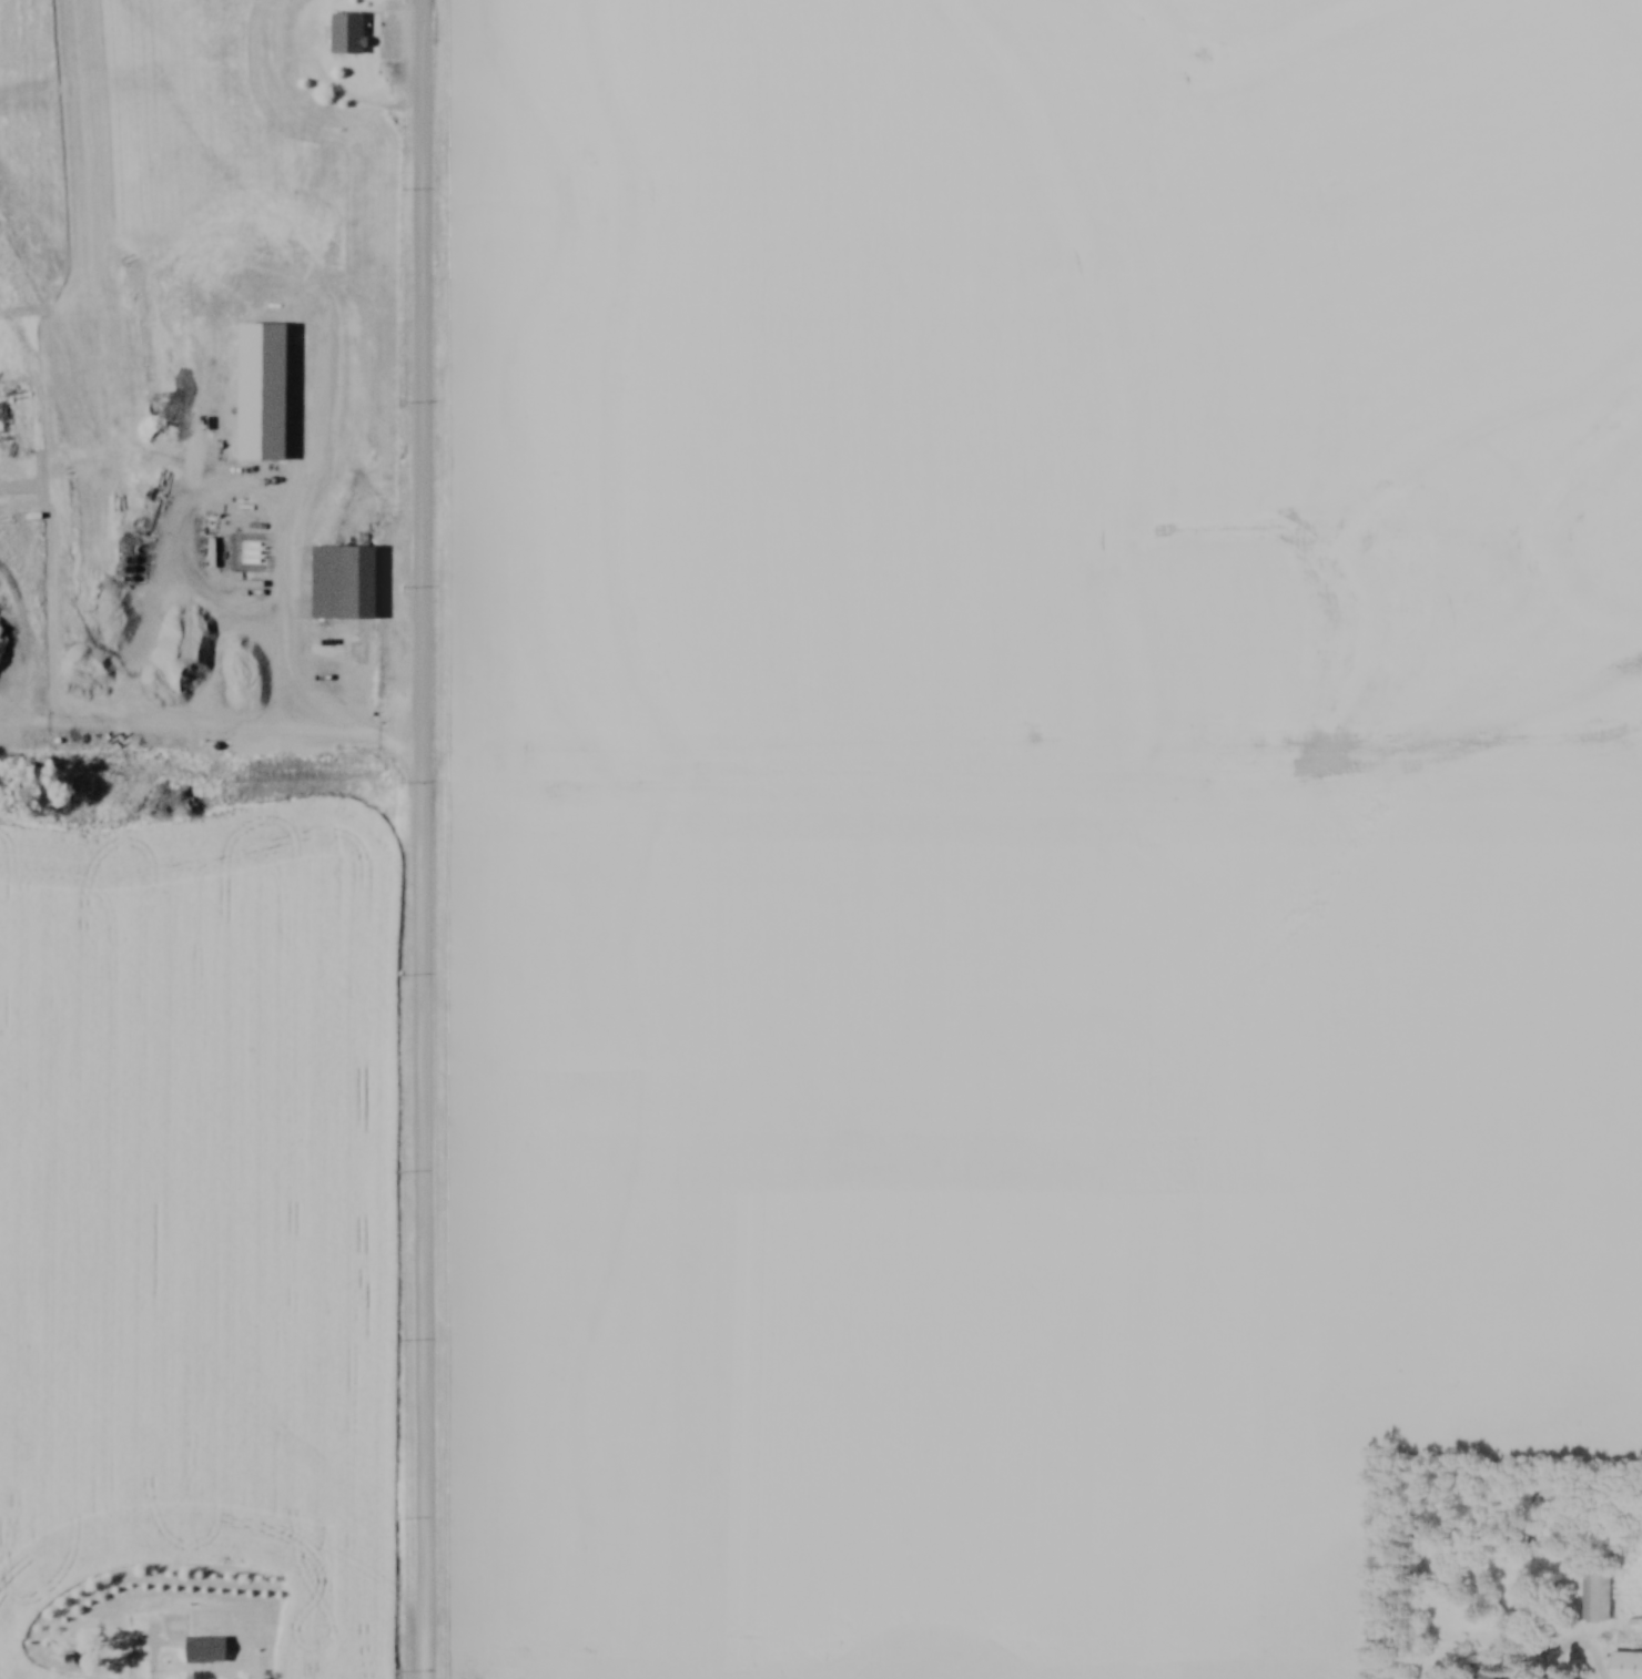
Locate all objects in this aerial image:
building: (346, 35)
building: (330, 586)
road: (294, 731)
road: (429, 838)
building: (1599, 1594)
road: (1580, 1645)
building: (203, 1650)
road: (155, 1665)
building: (1629, 1666)

